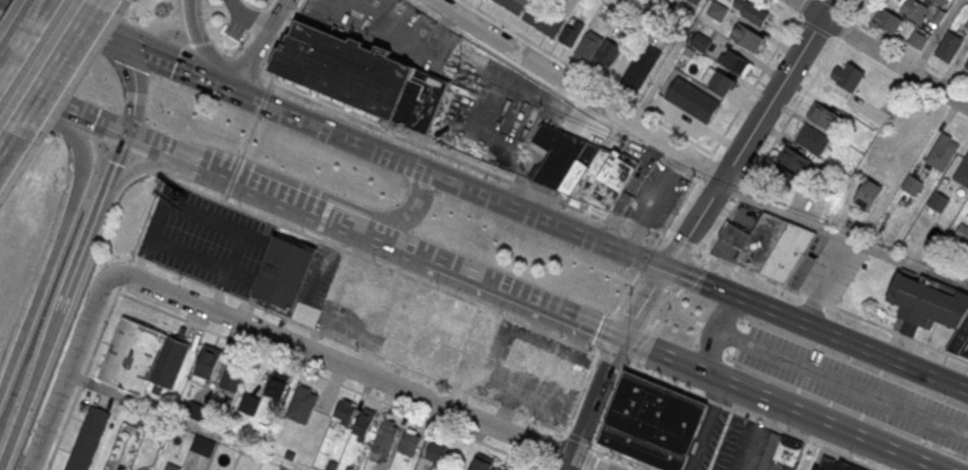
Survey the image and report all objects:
road: (21, 1)
building: (696, 1)
building: (935, 2)
building: (513, 5)
road: (101, 8)
building: (717, 11)
building: (751, 11)
building: (914, 11)
building: (542, 19)
road: (65, 21)
building: (887, 21)
building: (966, 21)
building: (967, 24)
road: (153, 29)
road: (20, 31)
building: (570, 33)
road: (936, 35)
building: (747, 37)
building: (916, 37)
road: (198, 39)
road: (199, 40)
building: (700, 42)
traffic signals: (117, 44)
road: (257, 44)
building: (949, 46)
road: (677, 48)
road: (220, 49)
building: (597, 51)
road: (881, 51)
road: (909, 52)
building: (734, 61)
road: (248, 65)
road: (59, 67)
building: (639, 67)
building: (966, 67)
building: (847, 74)
building: (360, 75)
road: (902, 79)
building: (722, 83)
road: (555, 87)
road: (135, 88)
road: (581, 88)
road: (28, 100)
building: (821, 115)
road: (90, 125)
building: (812, 137)
traffic signals: (124, 138)
road: (248, 139)
road: (9, 148)
building: (942, 152)
road: (391, 155)
road: (185, 160)
road: (114, 163)
building: (582, 167)
road: (137, 168)
building: (786, 171)
building: (962, 172)
road: (745, 183)
building: (911, 183)
building: (868, 194)
road: (278, 197)
building: (937, 199)
road: (574, 204)
road: (673, 212)
road: (338, 222)
road: (399, 222)
road: (689, 230)
road: (844, 232)
building: (962, 232)
parking lot: (205, 234)
building: (769, 240)
road: (82, 246)
road: (400, 247)
road: (54, 250)
traffic signals: (665, 270)
building: (284, 272)
road: (827, 278)
parking lot: (316, 284)
road: (707, 286)
building: (367, 298)
road: (527, 301)
building: (925, 301)
road: (684, 313)
road: (104, 321)
road: (524, 322)
road: (710, 323)
road: (715, 331)
building: (480, 335)
building: (960, 339)
road: (350, 340)
traffic signals: (618, 340)
building: (422, 344)
road: (312, 346)
road: (859, 346)
building: (445, 355)
building: (141, 357)
building: (206, 363)
building: (546, 364)
building: (232, 377)
road: (335, 378)
road: (842, 378)
road: (30, 385)
building: (276, 385)
parking lot: (852, 386)
building: (301, 403)
road: (607, 403)
building: (249, 404)
road: (776, 404)
building: (343, 411)
building: (653, 419)
road: (183, 421)
road: (47, 423)
building: (363, 423)
road: (704, 426)
road: (580, 435)
building: (385, 436)
building: (87, 439)
building: (408, 443)
building: (203, 445)
road: (558, 447)
building: (436, 451)
building: (786, 453)
building: (771, 454)
road: (626, 455)
road: (586, 458)
building: (481, 464)
road: (551, 464)
building: (835, 465)
building: (171, 466)
building: (499, 468)
road: (557, 469)

